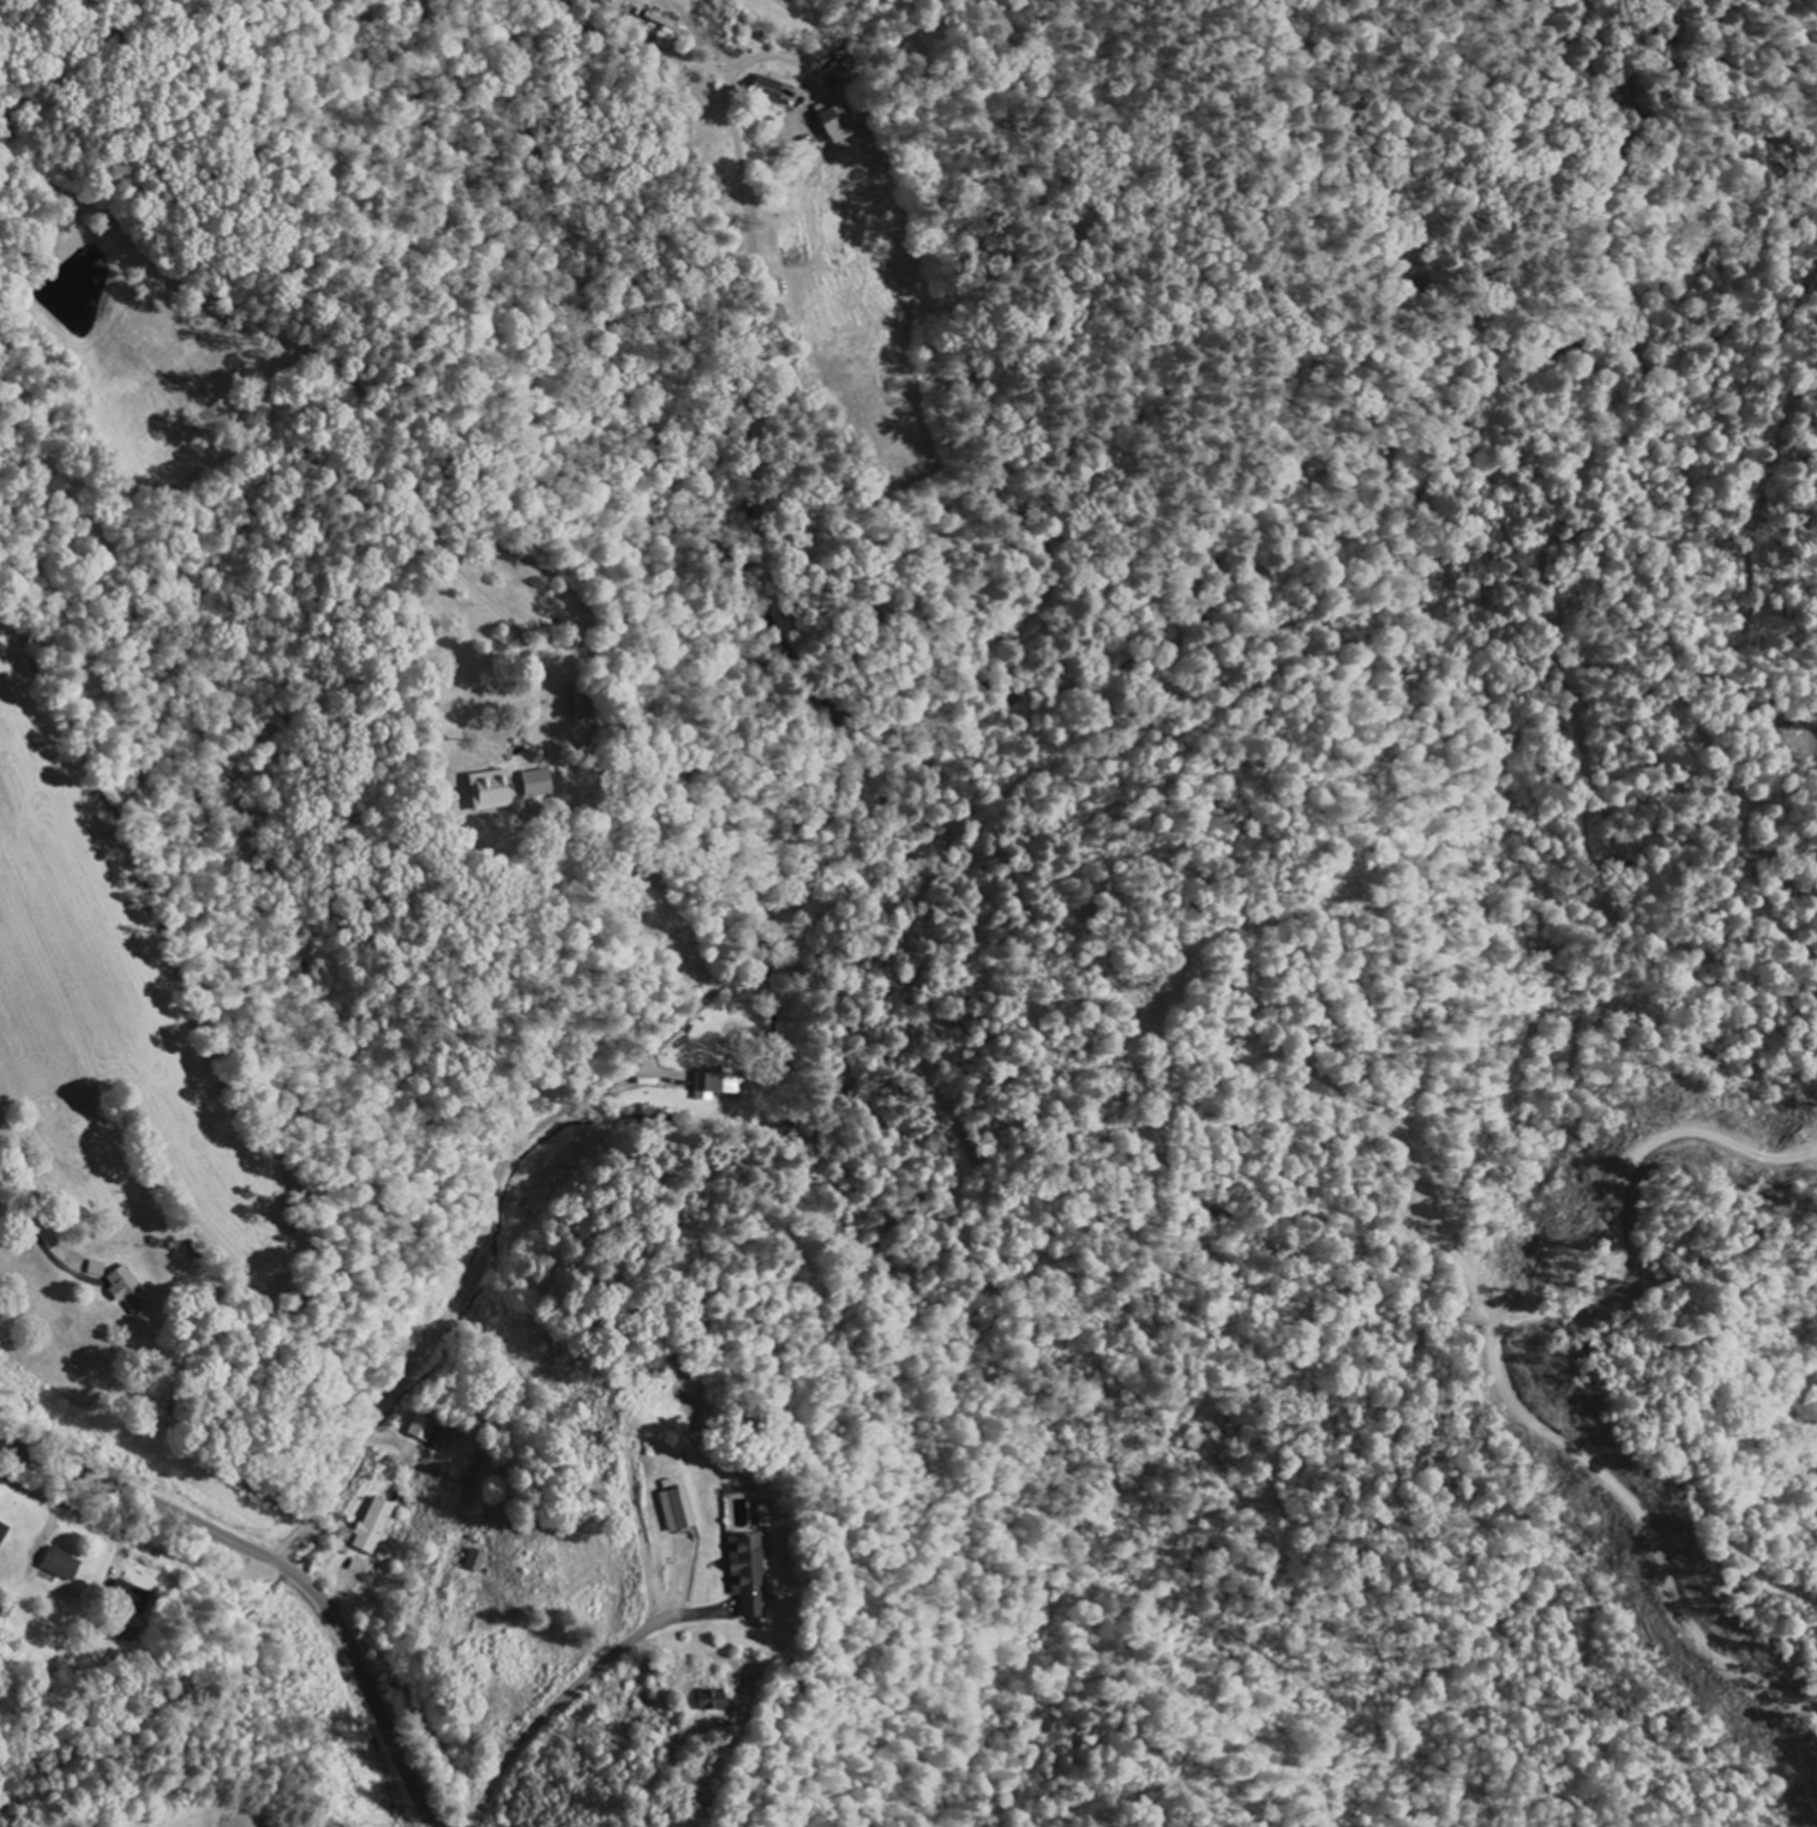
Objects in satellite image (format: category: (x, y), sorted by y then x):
building: (769, 90)
building: (838, 127)
building: (539, 785)
building: (493, 792)
road: (774, 896)
building: (721, 1084)
building: (98, 1270)
building: (131, 1292)
building: (421, 1430)
building: (678, 1512)
building: (769, 1518)
building: (374, 1528)
building: (4, 1533)
road: (136, 1538)
building: (473, 1562)
road: (278, 1564)
building: (64, 1565)
building: (751, 1575)
road: (613, 1651)
building: (718, 1702)

